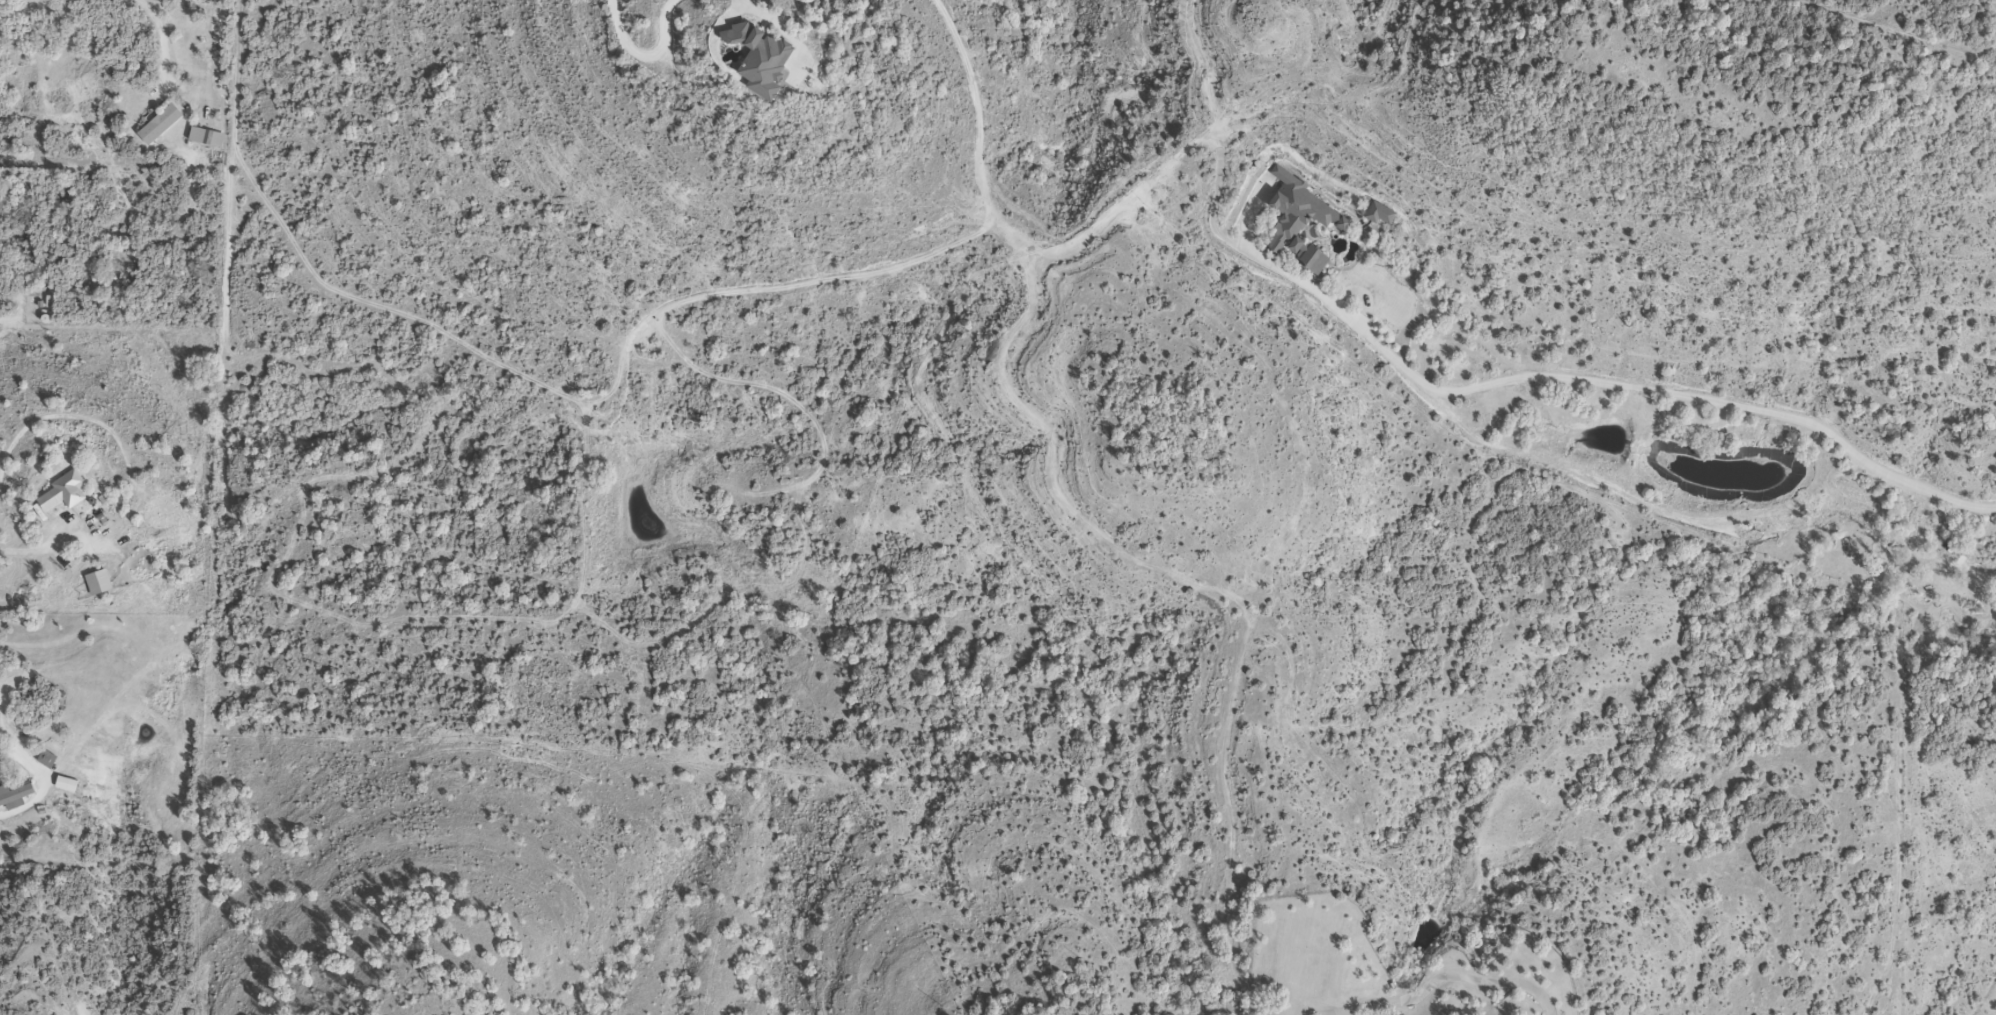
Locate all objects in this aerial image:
road: (163, 42)
road: (647, 53)
road: (984, 115)
building: (159, 127)
road: (1617, 385)
building: (59, 494)
road: (43, 542)
building: (46, 761)
building: (66, 786)
building: (14, 797)

